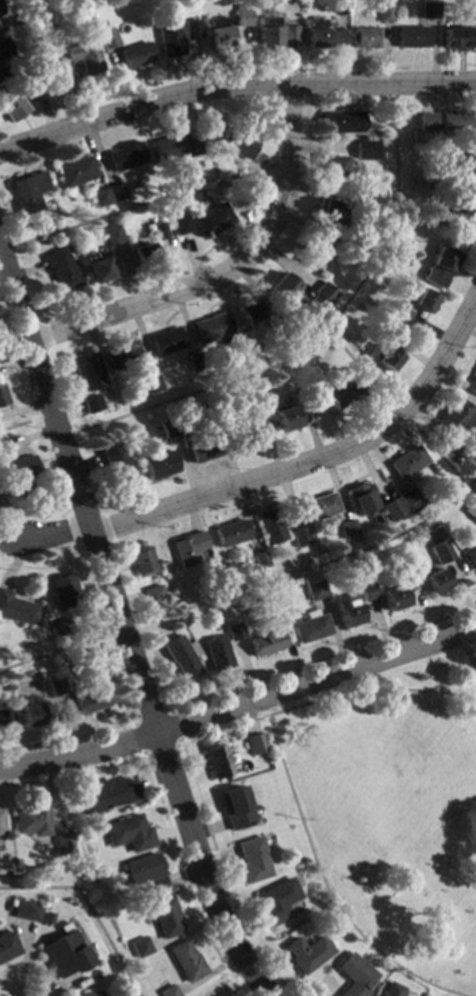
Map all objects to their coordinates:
building: (470, 10)
building: (429, 11)
building: (0, 12)
building: (385, 15)
building: (243, 19)
building: (99, 24)
building: (192, 30)
building: (218, 33)
building: (275, 34)
building: (322, 36)
building: (412, 38)
building: (365, 39)
building: (458, 39)
building: (108, 40)
building: (170, 41)
building: (4, 50)
building: (135, 56)
building: (85, 58)
road: (46, 64)
building: (70, 72)
building: (2, 75)
building: (37, 89)
road: (233, 89)
building: (12, 106)
building: (456, 121)
building: (342, 123)
building: (427, 123)
building: (237, 143)
building: (179, 147)
building: (365, 151)
building: (126, 157)
building: (461, 163)
building: (336, 169)
building: (76, 173)
building: (439, 182)
building: (248, 187)
building: (29, 192)
building: (116, 192)
building: (99, 199)
building: (456, 204)
building: (361, 205)
building: (331, 213)
road: (113, 214)
building: (427, 218)
building: (213, 221)
building: (181, 226)
building: (161, 231)
building: (113, 236)
building: (315, 250)
building: (353, 250)
road: (5, 254)
building: (143, 256)
building: (442, 260)
building: (97, 269)
building: (62, 271)
road: (227, 271)
building: (425, 278)
building: (285, 287)
building: (322, 296)
building: (423, 302)
building: (249, 313)
building: (400, 316)
building: (278, 325)
building: (211, 330)
building: (386, 330)
road: (322, 334)
building: (166, 343)
building: (238, 350)
building: (123, 356)
building: (383, 357)
building: (196, 362)
building: (89, 372)
building: (151, 385)
building: (472, 386)
building: (352, 388)
building: (332, 395)
building: (2, 398)
building: (299, 399)
building: (93, 405)
road: (398, 414)
building: (211, 417)
building: (283, 417)
building: (457, 419)
road: (19, 424)
road: (55, 425)
building: (262, 429)
building: (168, 430)
building: (243, 435)
building: (5, 447)
building: (203, 449)
building: (461, 452)
road: (316, 459)
building: (407, 464)
building: (160, 466)
building: (119, 468)
building: (21, 471)
building: (360, 498)
building: (408, 499)
building: (319, 508)
building: (393, 510)
building: (473, 518)
building: (375, 520)
building: (270, 528)
building: (347, 531)
building: (231, 534)
road: (52, 535)
building: (300, 538)
building: (189, 549)
building: (441, 553)
building: (471, 558)
building: (261, 562)
building: (143, 563)
road: (314, 567)
building: (404, 569)
building: (422, 569)
building: (436, 582)
building: (386, 584)
building: (316, 591)
building: (65, 592)
building: (366, 592)
building: (154, 594)
building: (393, 599)
building: (18, 610)
building: (347, 611)
building: (277, 614)
road: (122, 625)
building: (61, 628)
building: (311, 628)
road: (122, 630)
building: (234, 632)
building: (266, 644)
road: (54, 652)
building: (217, 655)
road: (470, 656)
road: (321, 658)
building: (182, 659)
building: (82, 668)
building: (54, 689)
road: (411, 691)
building: (89, 702)
road: (306, 703)
road: (239, 704)
building: (28, 714)
road: (150, 715)
building: (5, 720)
road: (173, 727)
road: (67, 738)
road: (139, 738)
building: (256, 744)
road: (162, 751)
park: (348, 761)
building: (217, 763)
road: (73, 775)
building: (109, 795)
park: (368, 799)
building: (237, 809)
park: (392, 809)
building: (32, 821)
building: (1, 825)
building: (129, 834)
road: (209, 834)
building: (63, 845)
building: (253, 861)
building: (146, 873)
road: (186, 879)
road: (324, 888)
building: (7, 903)
building: (276, 903)
road: (87, 909)
building: (25, 912)
building: (165, 917)
building: (6, 947)
building: (140, 948)
building: (307, 955)
building: (64, 956)
building: (187, 962)
road: (246, 966)
building: (355, 976)
road: (217, 986)
building: (392, 990)
building: (169, 992)
building: (94, 994)

